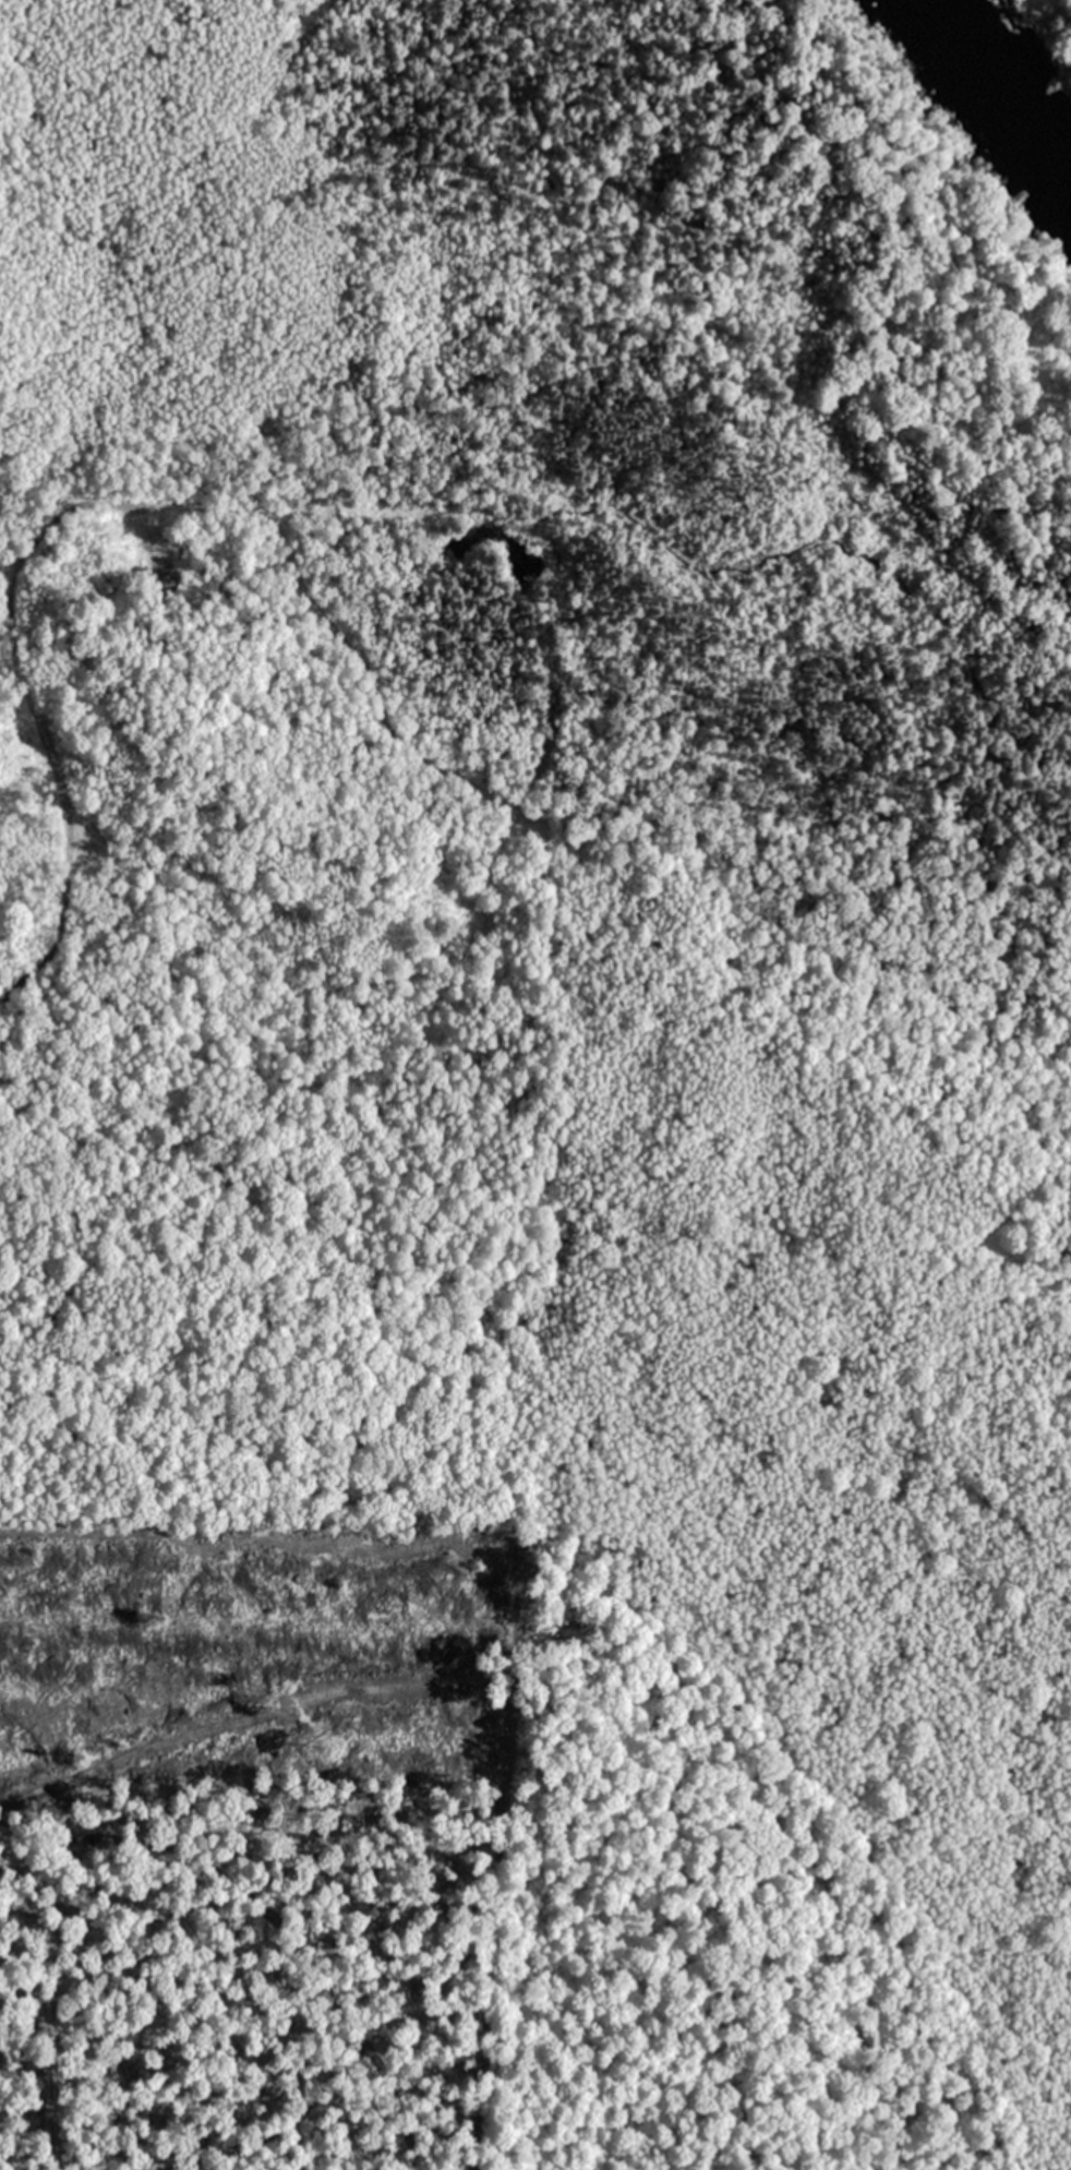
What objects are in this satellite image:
river: (1003, 79)

